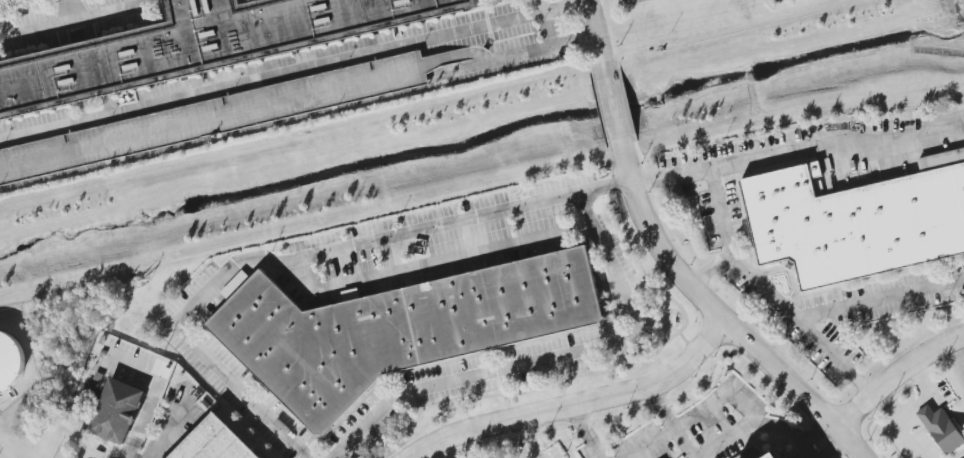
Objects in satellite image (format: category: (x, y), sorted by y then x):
road: (68, 10)
building: (195, 44)
road: (531, 55)
road: (601, 59)
road: (224, 121)
road: (956, 121)
road: (789, 152)
road: (605, 184)
building: (855, 224)
road: (727, 237)
road: (430, 263)
road: (278, 264)
road: (709, 307)
road: (837, 307)
building: (400, 328)
road: (837, 358)
road: (547, 359)
building: (10, 361)
road: (898, 380)
road: (584, 407)
road: (910, 410)
building: (117, 411)
road: (697, 415)
road: (144, 417)
road: (757, 423)
building: (941, 429)
road: (814, 431)
road: (587, 434)
road: (666, 436)
road: (164, 437)
road: (529, 440)
building: (215, 442)
road: (833, 448)
building: (774, 456)

